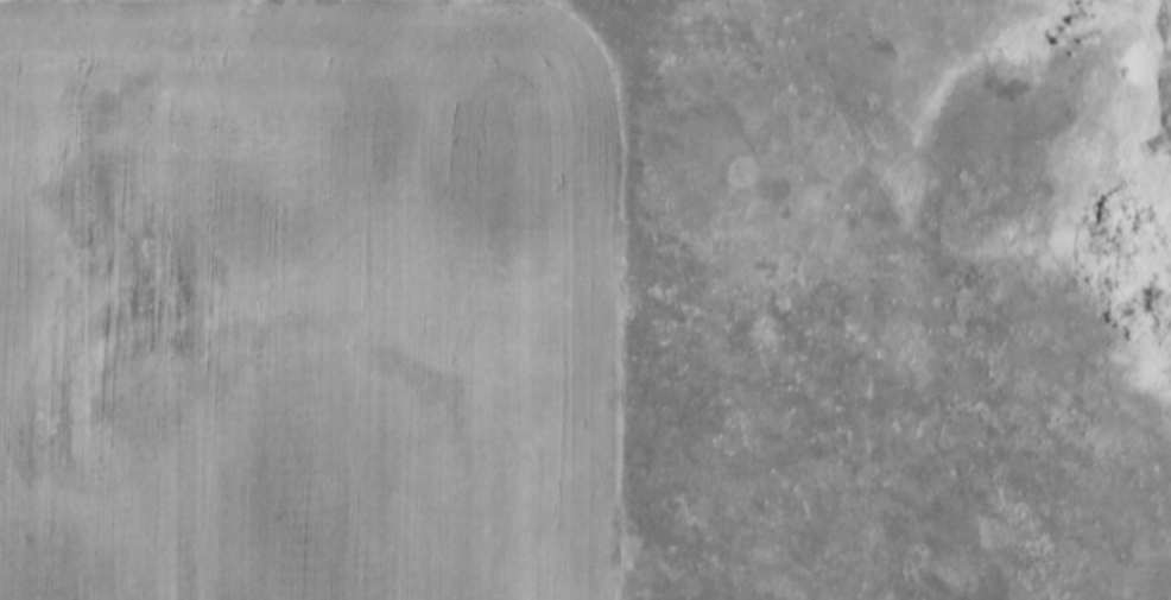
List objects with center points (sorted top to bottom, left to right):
road: (990, 430)

